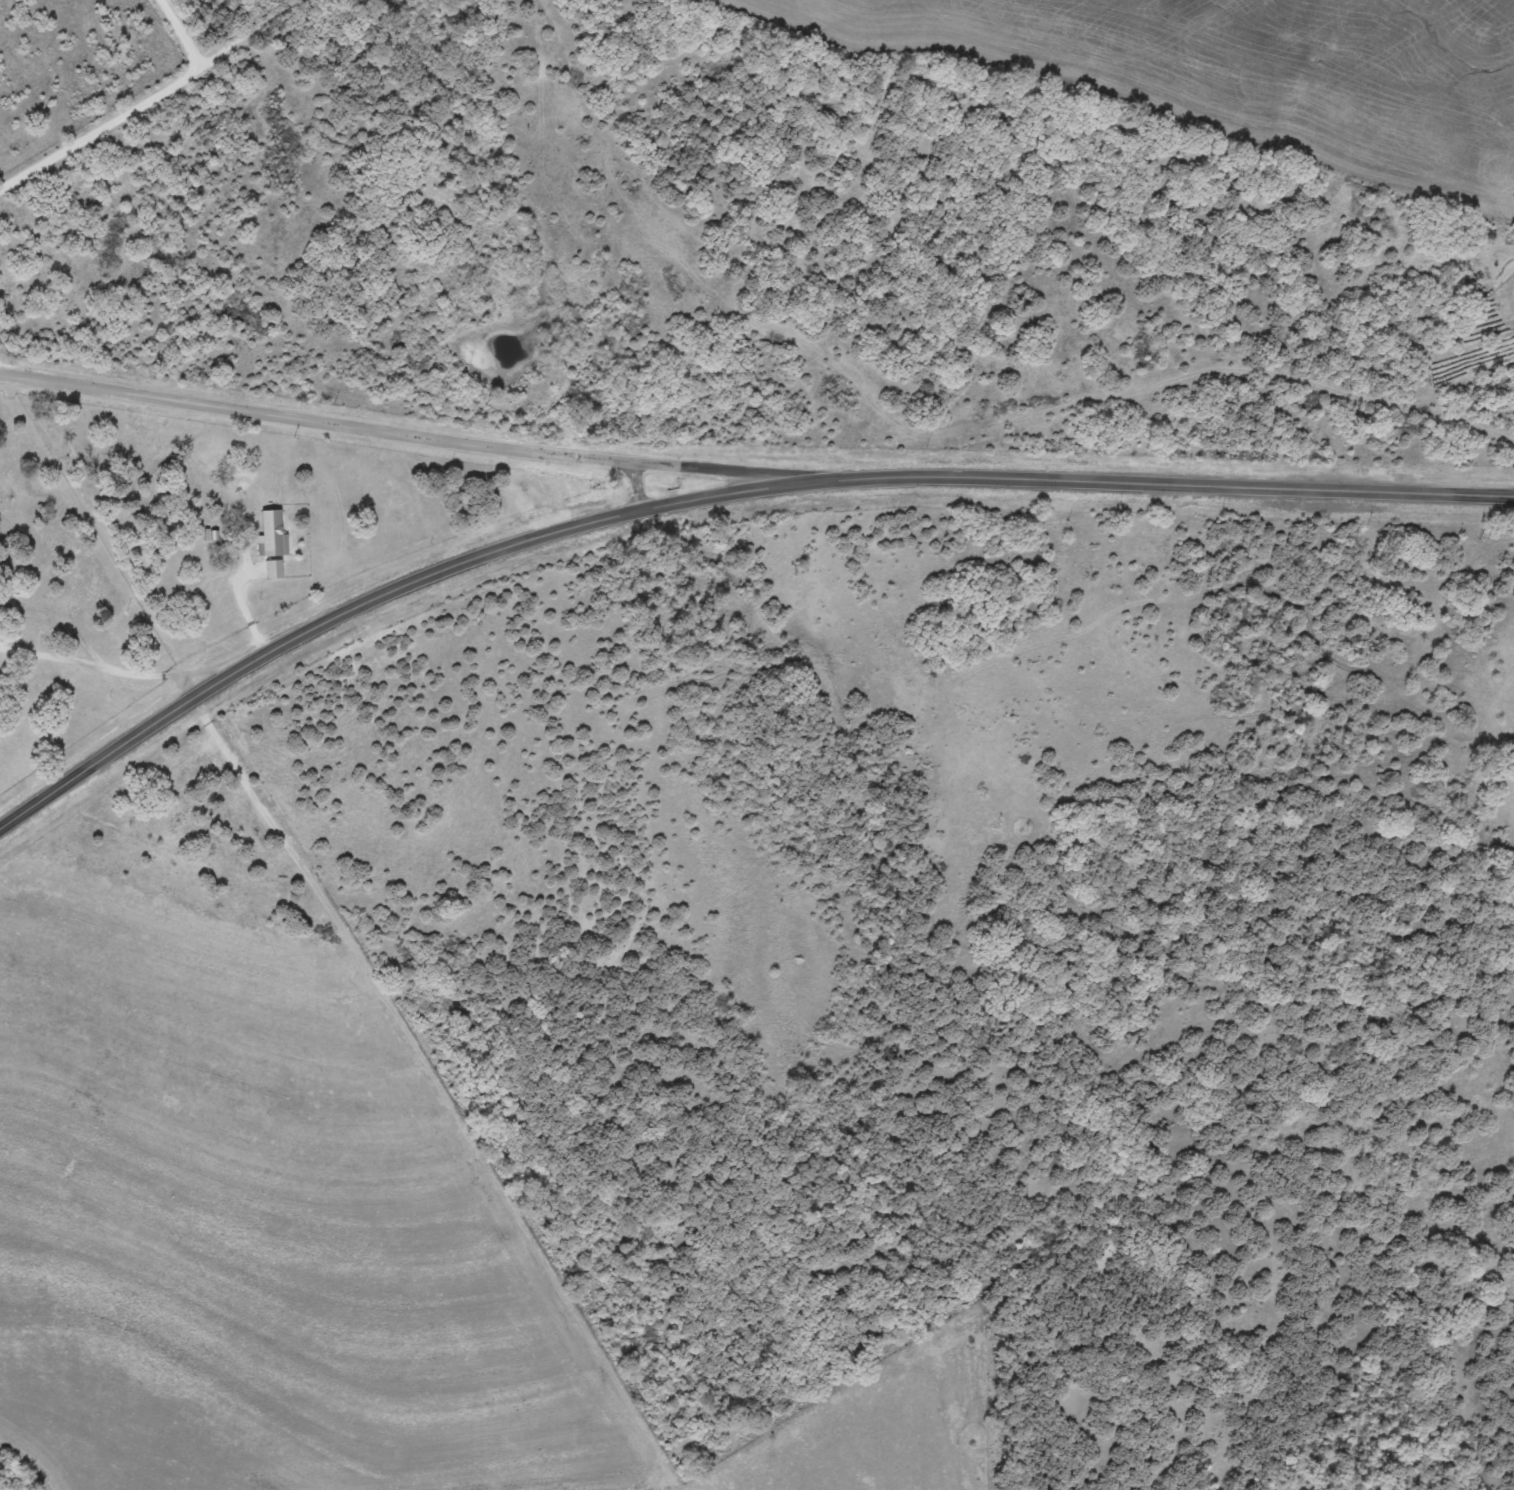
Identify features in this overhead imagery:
road: (433, 436)
road: (716, 499)
road: (106, 533)
road: (81, 624)
road: (882, 962)

